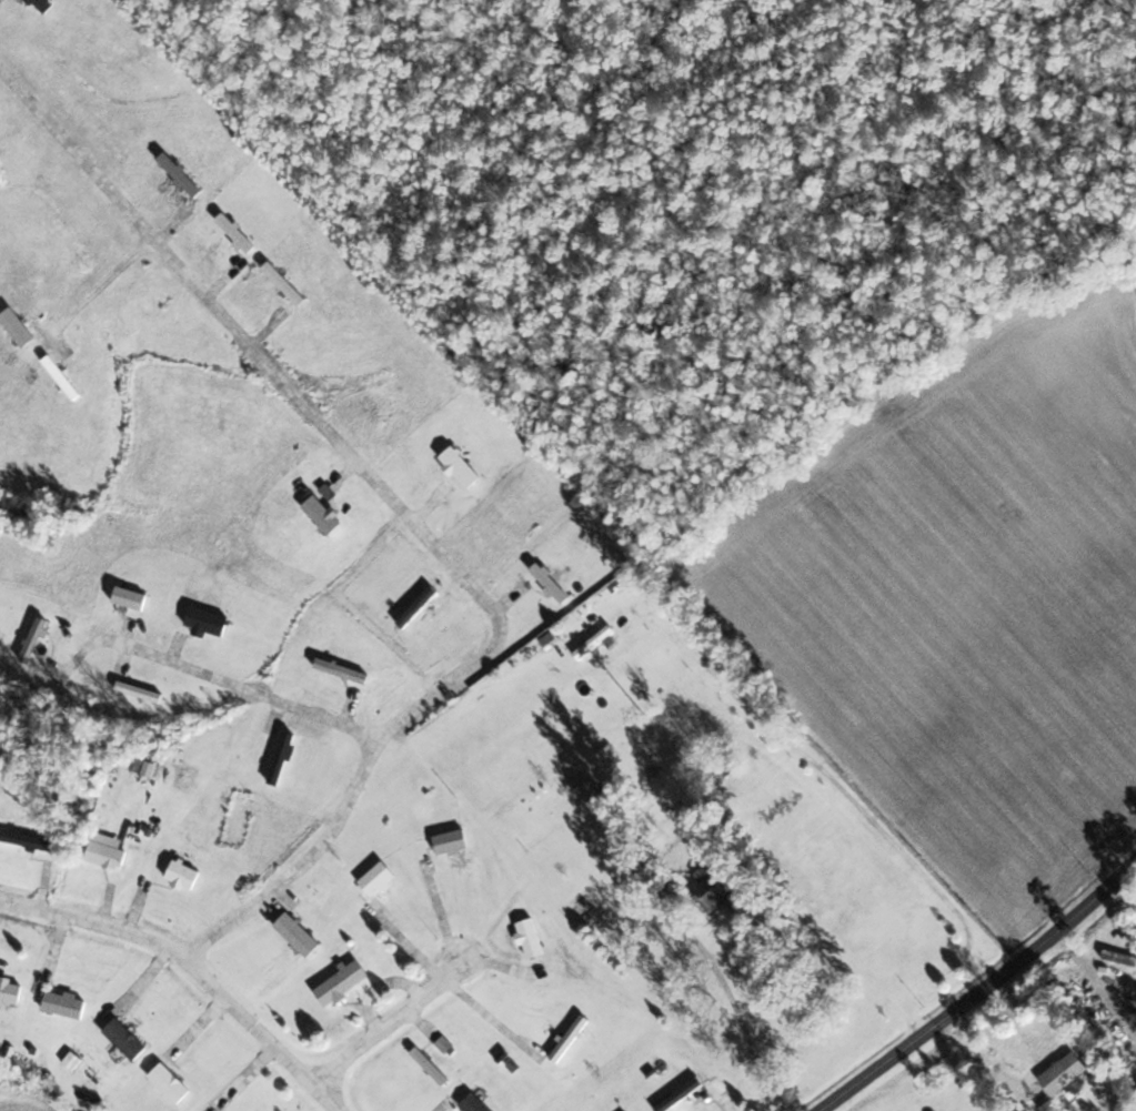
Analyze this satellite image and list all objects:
building: (48, 4)
building: (170, 160)
building: (21, 326)
building: (67, 376)
building: (464, 466)
building: (326, 514)
road: (409, 514)
building: (132, 596)
building: (211, 619)
building: (39, 638)
building: (600, 639)
building: (345, 669)
road: (248, 689)
building: (144, 690)
building: (285, 757)
building: (31, 839)
building: (454, 841)
building: (110, 854)
building: (187, 873)
building: (381, 877)
building: (717, 885)
road: (1127, 885)
building: (593, 909)
road: (442, 919)
building: (301, 933)
building: (534, 937)
road: (410, 945)
road: (197, 961)
building: (345, 982)
road: (1099, 984)
road: (376, 987)
road: (984, 990)
building: (11, 991)
building: (67, 1003)
road: (491, 1014)
road: (741, 1021)
road: (392, 1028)
building: (128, 1038)
building: (572, 1038)
road: (982, 1059)
building: (435, 1065)
building: (1069, 1073)
building: (172, 1082)
building: (683, 1093)
building: (477, 1103)

